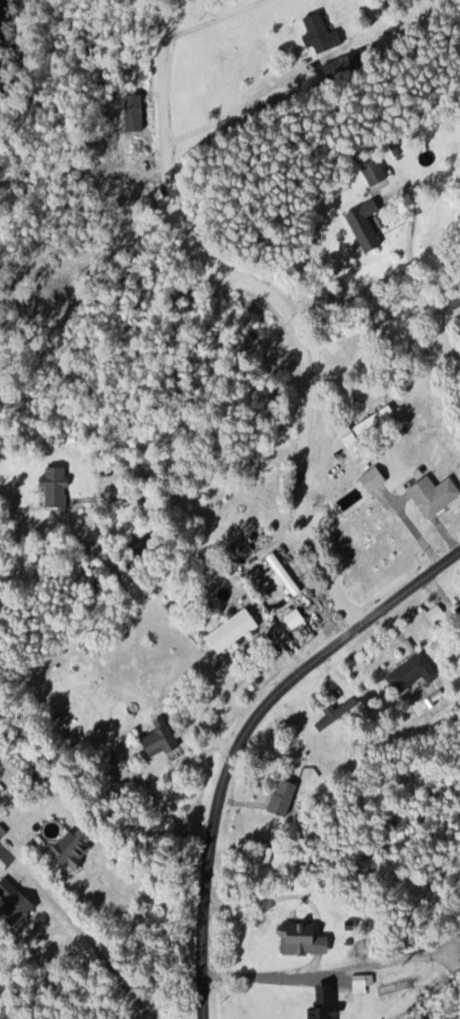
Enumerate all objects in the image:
building: (313, 32)
building: (370, 170)
building: (359, 228)
road: (276, 296)
building: (368, 478)
building: (49, 486)
building: (430, 494)
building: (280, 574)
building: (227, 631)
building: (408, 673)
road: (240, 734)
building: (155, 741)
building: (278, 797)
building: (1, 830)
building: (69, 847)
building: (11, 902)
building: (298, 937)
building: (326, 1006)

